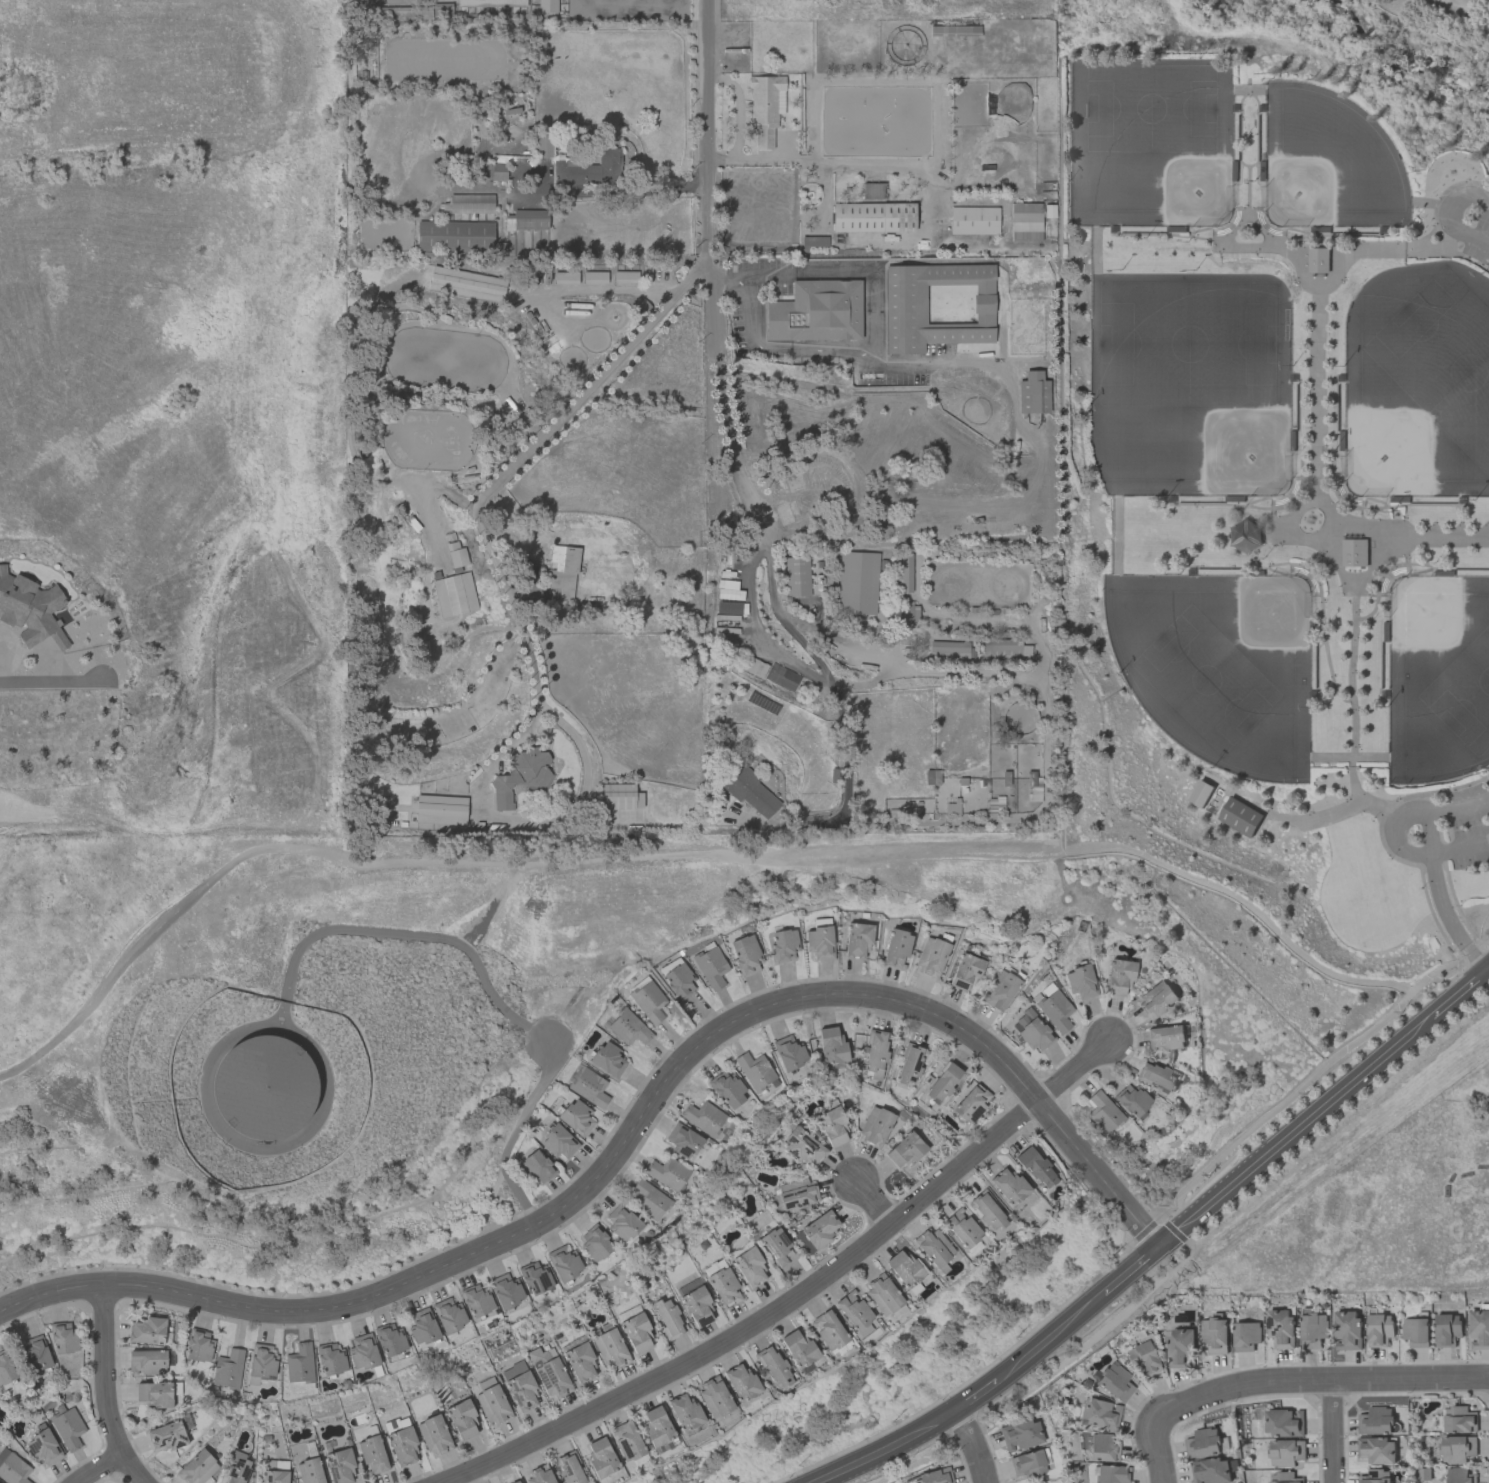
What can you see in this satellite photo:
park: (1478, 1)
building: (547, 6)
building: (441, 9)
road: (1456, 12)
building: (422, 13)
road: (706, 91)
park: (1150, 108)
building: (765, 110)
road: (1241, 122)
road: (1258, 124)
building: (542, 146)
park: (1327, 163)
building: (498, 172)
park: (1175, 173)
building: (589, 174)
road: (644, 192)
building: (873, 193)
road: (1439, 199)
road: (1420, 202)
building: (469, 204)
road: (1249, 204)
road: (1442, 205)
road: (1446, 213)
building: (873, 218)
road: (708, 219)
parking lot: (1467, 219)
building: (526, 220)
building: (974, 221)
road: (1232, 232)
road: (1168, 233)
road: (1326, 235)
building: (455, 236)
road: (1451, 251)
building: (1320, 260)
road: (848, 273)
road: (728, 276)
building: (625, 277)
building: (565, 278)
building: (594, 278)
road: (1329, 282)
building: (937, 306)
road: (750, 311)
building: (816, 312)
park: (1189, 343)
road: (812, 350)
park: (1442, 360)
road: (1317, 388)
building: (1033, 394)
park: (1197, 397)
road: (722, 402)
park: (1416, 402)
road: (476, 504)
park: (1278, 504)
road: (1326, 506)
road: (1262, 508)
road: (1369, 509)
road: (1355, 522)
road: (1278, 535)
building: (1247, 536)
building: (1355, 553)
building: (455, 554)
road: (1407, 563)
building: (562, 571)
building: (905, 572)
building: (799, 576)
road: (1363, 577)
road: (1318, 579)
building: (859, 582)
park: (978, 583)
building: (727, 591)
building: (455, 595)
building: (734, 608)
road: (893, 608)
building: (30, 610)
road: (814, 611)
building: (911, 614)
building: (950, 620)
road: (1029, 632)
road: (843, 643)
building: (1006, 647)
building: (951, 649)
parking lot: (866, 653)
road: (896, 653)
park: (1218, 665)
building: (756, 666)
road: (1015, 675)
park: (1438, 677)
road: (54, 679)
park: (1204, 679)
road: (1049, 680)
building: (804, 686)
park: (1463, 693)
road: (1352, 694)
rooftop solar panel: (758, 703)
rooftop solar panel: (771, 707)
building: (1021, 718)
road: (847, 727)
road: (576, 744)
road: (1348, 756)
building: (522, 777)
building: (749, 792)
building: (440, 810)
building: (1241, 817)
parking lot: (747, 819)
parking lot: (1442, 828)
road: (1395, 831)
road: (1381, 834)
road: (675, 854)
road: (1440, 896)
building: (858, 940)
building: (820, 943)
building: (784, 945)
building: (896, 949)
building: (745, 955)
building: (931, 958)
building: (710, 966)
road: (1488, 969)
building: (965, 972)
building: (1119, 978)
building: (679, 981)
building: (1080, 982)
building: (1000, 991)
road: (491, 992)
building: (1156, 1000)
building: (648, 1001)
road: (1447, 1001)
building: (1054, 1009)
building: (628, 1028)
building: (1031, 1031)
building: (1165, 1037)
building: (832, 1046)
building: (875, 1050)
building: (789, 1053)
building: (608, 1059)
building: (910, 1065)
building: (755, 1071)
building: (1157, 1077)
building: (942, 1083)
building: (588, 1087)
building: (264, 1089)
storage tank: (264, 1089)
building: (727, 1090)
building: (1131, 1100)
building: (971, 1104)
rooftop solar panel: (979, 1113)
building: (1103, 1114)
building: (576, 1117)
building: (703, 1118)
building: (833, 1126)
building: (875, 1126)
road: (629, 1137)
road: (1283, 1139)
rooftop solar panel: (792, 1140)
building: (683, 1141)
building: (558, 1143)
rooftop solar panel: (811, 1144)
building: (803, 1148)
rooftop solar panel: (792, 1150)
rooftop solar panel: (807, 1151)
building: (904, 1151)
building: (537, 1168)
building: (1036, 1168)
building: (667, 1173)
building: (1008, 1186)
building: (797, 1194)
building: (647, 1199)
road: (872, 1205)
building: (986, 1211)
building: (622, 1223)
building: (962, 1228)
building: (817, 1232)
rooftop solar panel: (784, 1237)
building: (594, 1244)
rooftop solar panel: (774, 1245)
building: (777, 1247)
building: (934, 1248)
rooftop solar panel: (778, 1255)
building: (564, 1263)
building: (749, 1268)
building: (904, 1268)
road: (1131, 1270)
building: (535, 1278)
building: (724, 1287)
building: (506, 1291)
road: (803, 1294)
building: (883, 1296)
building: (476, 1301)
building: (696, 1303)
building: (854, 1311)
building: (449, 1315)
building: (668, 1318)
rooftop solar panel: (1281, 1324)
building: (1280, 1327)
building: (422, 1328)
building: (1378, 1329)
building: (1447, 1329)
building: (1479, 1329)
building: (828, 1330)
building: (1312, 1330)
building: (1346, 1330)
building: (146, 1331)
building: (1415, 1332)
building: (637, 1333)
building: (1214, 1334)
building: (1246, 1336)
road: (1049, 1338)
building: (63, 1339)
building: (389, 1339)
building: (199, 1346)
building: (1180, 1347)
building: (798, 1348)
building: (610, 1349)
building: (362, 1352)
building: (36, 1354)
building: (1142, 1359)
building: (330, 1360)
building: (147, 1362)
building: (581, 1363)
building: (261, 1364)
building: (299, 1364)
building: (774, 1367)
building: (6, 1369)
building: (228, 1369)
rooftop solar panel: (548, 1369)
building: (550, 1373)
rooftop solar panel: (545, 1378)
road: (1315, 1381)
building: (741, 1382)
building: (1115, 1382)
rooftop solar panel: (515, 1386)
building: (520, 1387)
road: (106, 1389)
building: (155, 1394)
road: (976, 1396)
building: (715, 1398)
rooftop solar panel: (518, 1399)
rooftop solar panel: (528, 1402)
building: (492, 1405)
building: (685, 1413)
building: (1099, 1415)
building: (462, 1419)
building: (1459, 1419)
building: (1376, 1421)
building: (1283, 1422)
building: (657, 1426)
building: (67, 1428)
road: (1330, 1432)
building: (1020, 1435)
building: (434, 1436)
building: (166, 1437)
rooftop solar panel: (183, 1437)
rooftop solar panel: (155, 1438)
rooftop solar panel: (173, 1440)
rooftop solar panel: (163, 1441)
building: (626, 1441)
building: (1205, 1442)
rooftop solar panel: (37, 1444)
rooftop solar panel: (180, 1444)
road: (973, 1445)
building: (403, 1446)
building: (43, 1448)
building: (1457, 1448)
road: (887, 1449)
building: (1103, 1449)
building: (1376, 1450)
building: (1286, 1452)
road: (1157, 1454)
building: (372, 1455)
rooftop solar panel: (334, 1458)
building: (601, 1458)
rooftop solar panel: (565, 1462)
building: (1026, 1464)
building: (340, 1467)
building: (12, 1468)
building: (197, 1468)
building: (237, 1468)
building: (569, 1468)
road: (99, 1469)
rooftop solar panel: (568, 1469)
building: (310, 1471)
building: (1211, 1471)
building: (1112, 1474)
rooftop solar panel: (332, 1475)
building: (539, 1475)
building: (1459, 1475)
building: (273, 1476)
building: (935, 1476)
building: (1376, 1476)
building: (1284, 1478)
rooftop solar panel: (270, 1482)
building: (515, 1482)

